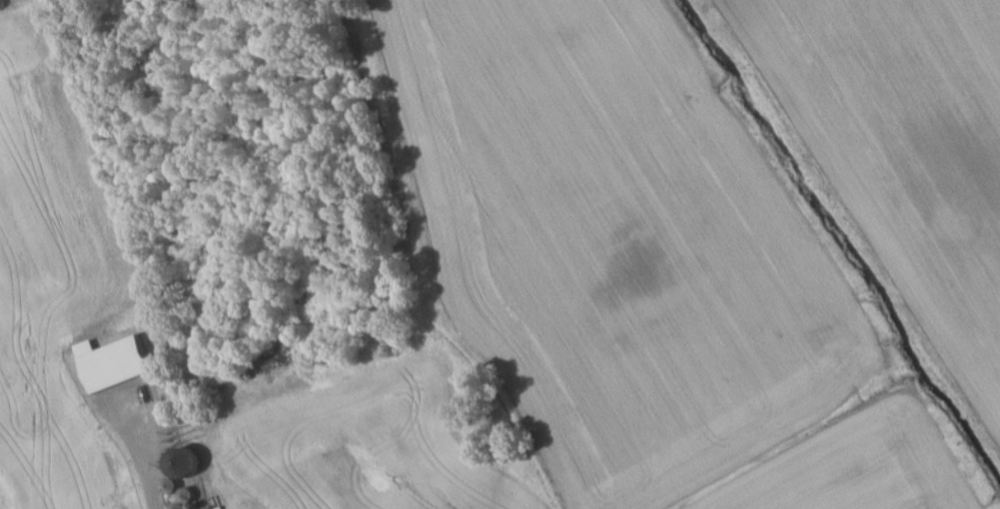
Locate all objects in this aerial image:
building: (117, 363)
building: (184, 460)

